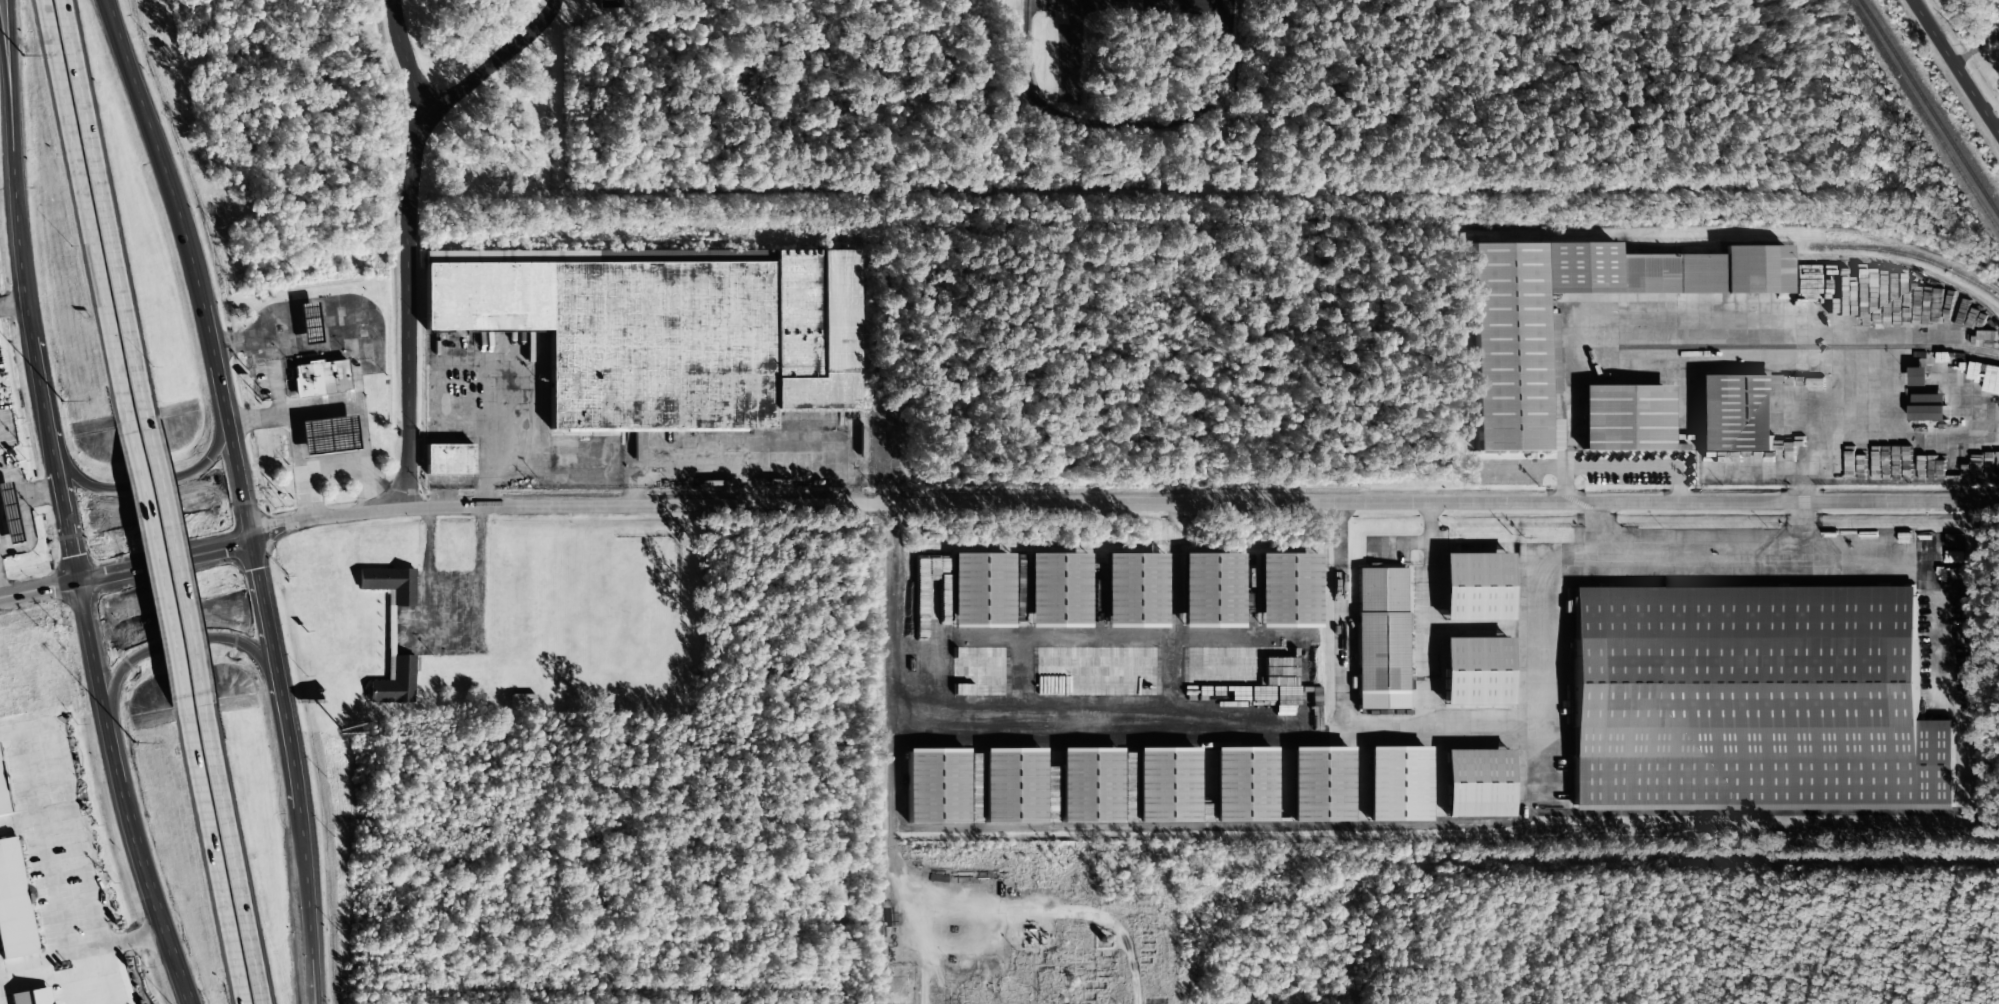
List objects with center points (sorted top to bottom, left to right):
building: (1127, 7)
building: (1997, 30)
road: (114, 39)
road: (1957, 63)
road: (497, 65)
road: (13, 99)
railway: (1927, 107)
road: (7, 123)
road: (105, 207)
road: (83, 210)
railway: (1812, 225)
road: (410, 254)
road: (192, 268)
road: (12, 305)
building: (323, 316)
gas station: (323, 316)
road: (1802, 320)
building: (675, 324)
building: (1515, 354)
building: (336, 372)
building: (1919, 376)
road: (40, 391)
building: (1927, 408)
building: (1736, 413)
building: (1625, 418)
building: (342, 429)
gas station: (342, 429)
building: (448, 459)
building: (0, 470)
road: (149, 485)
road: (1122, 505)
building: (23, 506)
gas station: (23, 506)
building: (9, 514)
road: (175, 556)
road: (165, 562)
road: (154, 565)
building: (409, 577)
building: (390, 583)
building: (1475, 586)
road: (40, 589)
building: (981, 590)
building: (1058, 590)
building: (1212, 591)
building: (1288, 591)
building: (1381, 638)
road: (172, 645)
building: (1475, 671)
building: (414, 678)
building: (396, 683)
building: (1751, 699)
building: (523, 700)
road: (292, 772)
building: (1476, 783)
building: (1282, 784)
building: (1397, 784)
building: (1013, 785)
building: (1090, 785)
building: (1167, 785)
building: (937, 786)
road: (121, 795)
building: (2, 798)
road: (35, 817)
road: (78, 839)
road: (233, 851)
road: (212, 856)
building: (13, 905)
road: (306, 945)
road: (81, 950)
road: (181, 975)
building: (32, 997)
road: (0, 1002)

